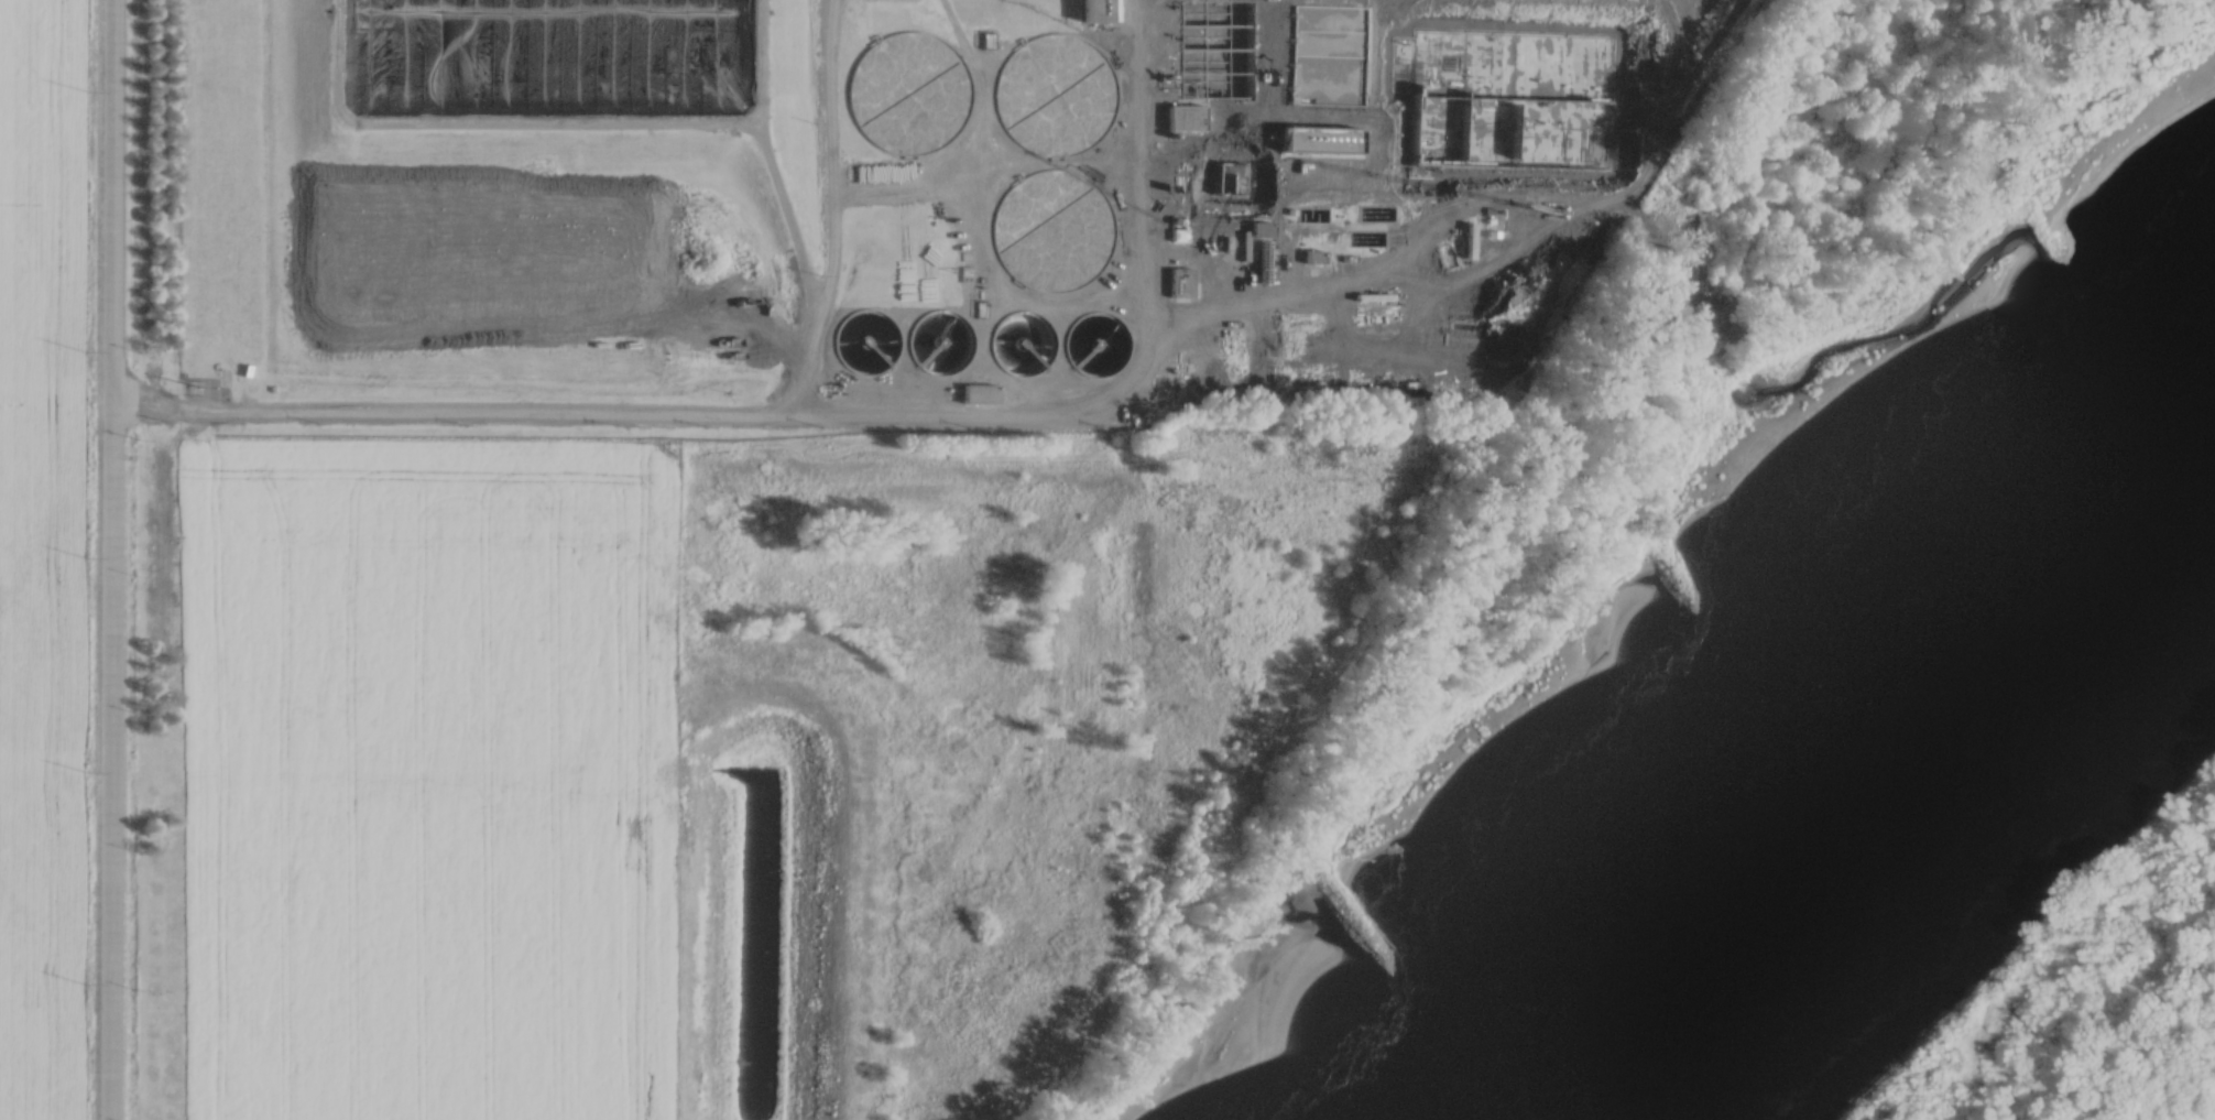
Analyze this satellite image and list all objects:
road: (1145, 3)
building: (1093, 9)
building: (1327, 35)
road: (753, 61)
building: (914, 87)
building: (1045, 95)
building: (1185, 113)
road: (483, 122)
building: (1297, 154)
road: (1146, 186)
wastewater plant: (893, 209)
road: (1441, 215)
building: (1037, 225)
building: (1506, 233)
building: (1312, 252)
road: (800, 269)
building: (1178, 279)
building: (1016, 338)
building: (978, 391)
road: (1014, 420)
crop: (39, 558)
road: (108, 559)
river: (1851, 759)
crop: (417, 776)

